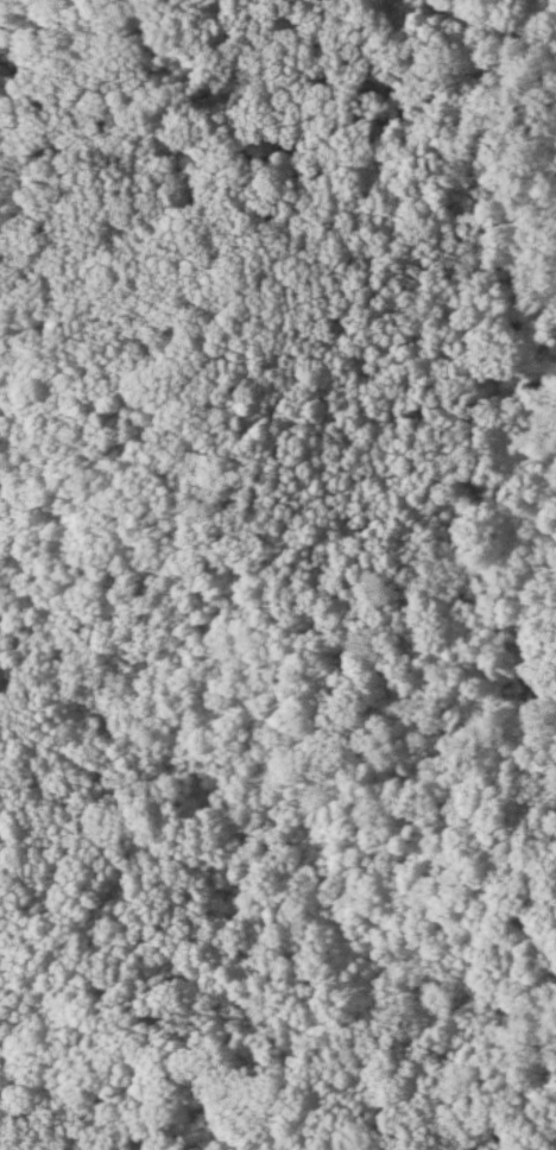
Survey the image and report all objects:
road: (210, 42)
park: (278, 575)

